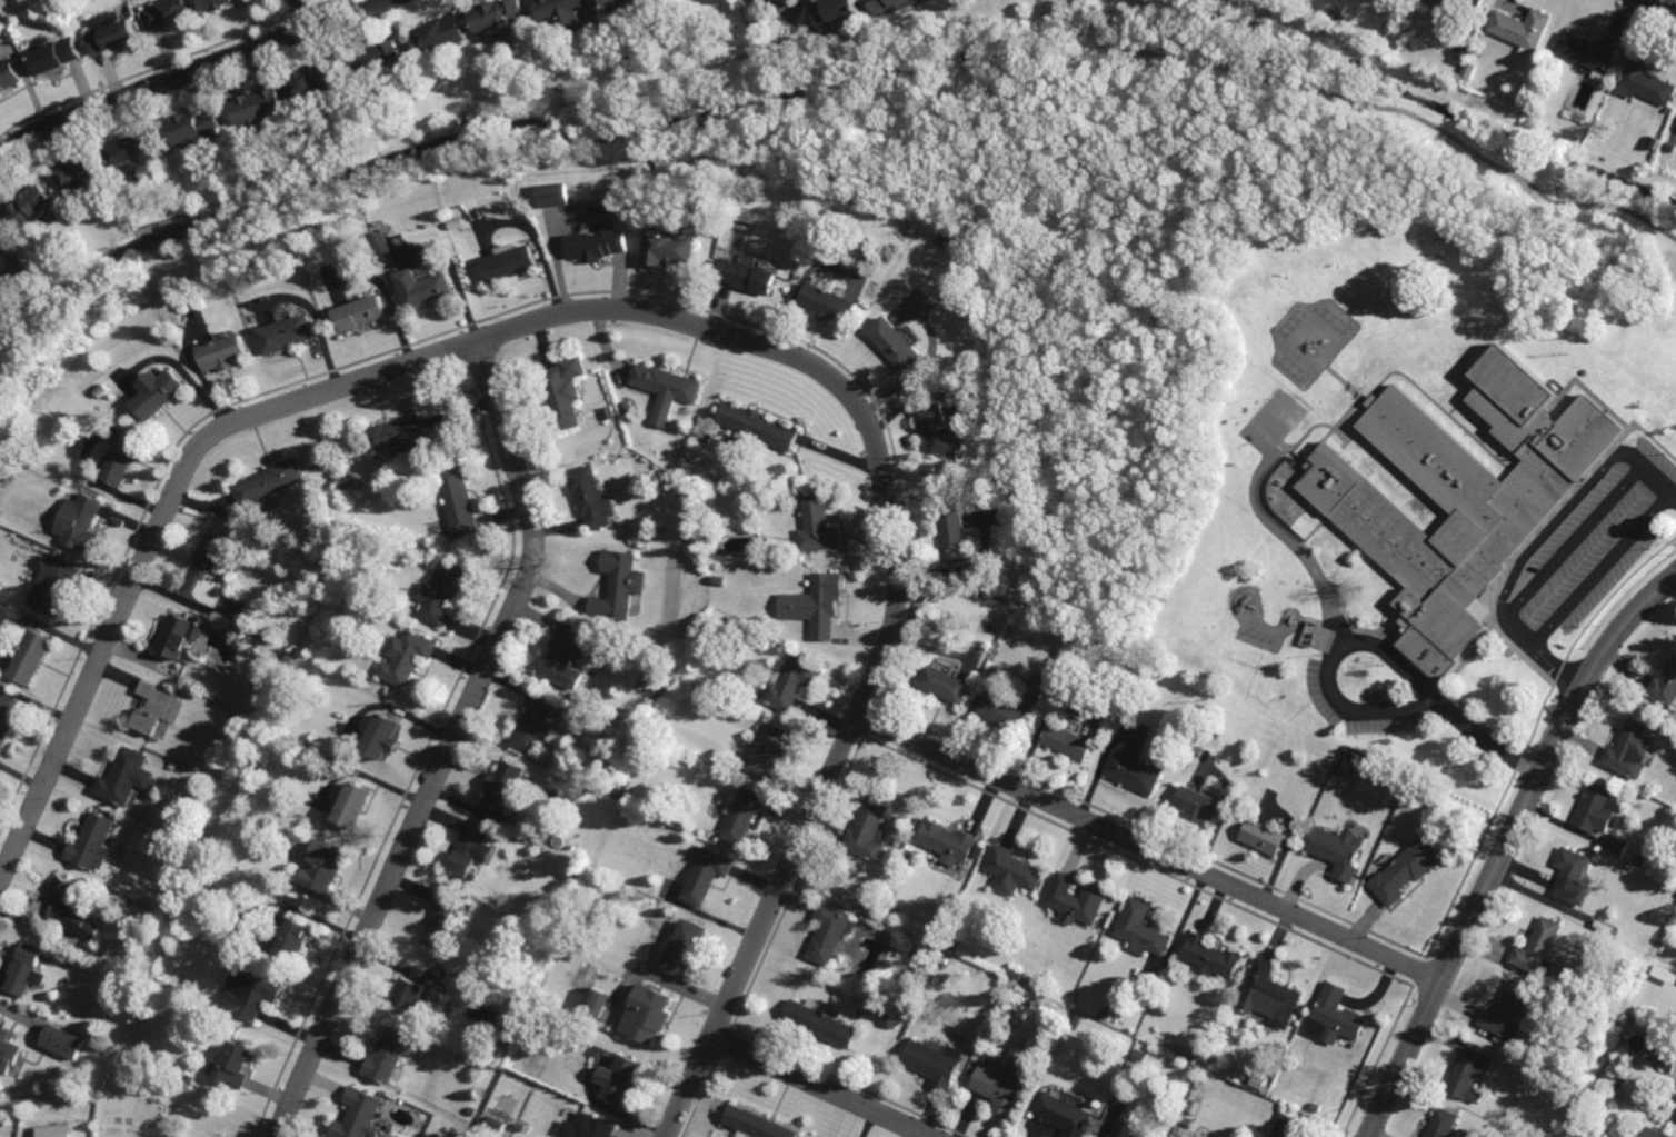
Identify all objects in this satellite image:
building: (777, 1)
building: (792, 1)
building: (767, 2)
building: (622, 3)
building: (217, 4)
building: (895, 4)
road: (1664, 4)
building: (1456, 7)
building: (562, 10)
building: (840, 10)
building: (168, 13)
road: (302, 13)
building: (498, 13)
building: (1522, 28)
building: (442, 33)
building: (113, 34)
building: (1588, 51)
building: (1460, 52)
building: (56, 54)
building: (378, 57)
building: (1468, 69)
road: (188, 72)
building: (9, 76)
building: (1645, 81)
building: (321, 82)
building: (263, 103)
building: (1527, 108)
road: (1405, 111)
building: (373, 114)
building: (200, 127)
building: (1532, 130)
building: (136, 148)
building: (81, 176)
building: (557, 195)
building: (31, 206)
building: (945, 239)
building: (382, 241)
building: (600, 243)
building: (672, 247)
building: (891, 252)
building: (510, 261)
building: (750, 276)
building: (4, 282)
building: (422, 288)
building: (829, 303)
park: (1120, 311)
building: (361, 313)
road: (684, 319)
building: (291, 335)
building: (895, 343)
building: (229, 355)
building: (964, 376)
building: (668, 386)
building: (566, 393)
building: (163, 396)
building: (630, 408)
building: (610, 413)
building: (759, 428)
building: (939, 429)
building: (400, 436)
building: (708, 436)
building: (124, 460)
road: (1653, 476)
building: (271, 486)
building: (348, 488)
building: (1461, 493)
building: (592, 498)
building: (458, 501)
building: (735, 507)
building: (1, 520)
building: (818, 525)
building: (83, 526)
road: (1553, 526)
building: (955, 537)
road: (1295, 543)
road: (1600, 570)
building: (211, 571)
building: (57, 585)
building: (618, 585)
building: (441, 588)
building: (825, 602)
building: (635, 616)
building: (728, 619)
building: (183, 630)
building: (262, 632)
building: (704, 646)
road: (1378, 648)
building: (566, 652)
building: (32, 654)
building: (406, 655)
road: (1540, 656)
building: (791, 680)
building: (945, 682)
building: (1665, 684)
building: (759, 692)
building: (158, 705)
building: (1002, 710)
building: (7, 714)
building: (532, 722)
building: (381, 736)
building: (1067, 741)
road: (451, 744)
building: (1629, 748)
building: (767, 750)
building: (1197, 751)
building: (688, 758)
building: (172, 764)
building: (1134, 772)
building: (126, 775)
building: (1393, 778)
building: (501, 784)
building: (1411, 785)
building: (1199, 802)
building: (352, 805)
building: (1597, 807)
building: (740, 815)
building: (867, 829)
building: (1263, 836)
building: (92, 840)
building: (947, 840)
building: (1617, 844)
road: (1506, 845)
road: (1149, 848)
building: (469, 849)
building: (977, 850)
building: (1337, 850)
building: (908, 852)
building: (1642, 859)
building: (1012, 867)
building: (323, 868)
building: (1405, 870)
building: (1573, 875)
building: (706, 876)
building: (508, 892)
building: (1079, 902)
building: (68, 906)
building: (191, 915)
building: (442, 919)
building: (161, 925)
building: (1140, 927)
building: (828, 932)
building: (292, 940)
building: (954, 945)
building: (685, 947)
building: (1538, 948)
building: (1209, 957)
building: (26, 968)
building: (1015, 974)
building: (1574, 980)
building: (169, 988)
building: (412, 989)
building: (252, 990)
building: (1268, 994)
building: (549, 995)
building: (596, 1003)
building: (519, 1010)
building: (1508, 1010)
building: (650, 1011)
building: (1101, 1015)
building: (1335, 1016)
building: (892, 1017)
building: (1657, 1017)
building: (820, 1020)
building: (1075, 1021)
building: (177, 1036)
building: (571, 1039)
building: (63, 1040)
building: (8, 1051)
building: (1195, 1055)
building: (1664, 1055)
building: (387, 1056)
building: (1140, 1056)
building: (936, 1063)
building: (237, 1064)
building: (1470, 1075)
building: (623, 1079)
building: (186, 1080)
building: (174, 1081)
building: (1620, 1081)
building: (1006, 1084)
road: (822, 1086)
building: (1265, 1089)
building: (1675, 1099)
building: (472, 1110)
building: (357, 1115)
building: (1064, 1115)
building: (1187, 1123)
building: (1443, 1123)
building: (498, 1124)
building: (755, 1124)
building: (521, 1127)
building: (589, 1127)
building: (1289, 1127)
building: (53, 1130)
building: (1125, 1130)
building: (1655, 1133)
building: (1466, 1134)

